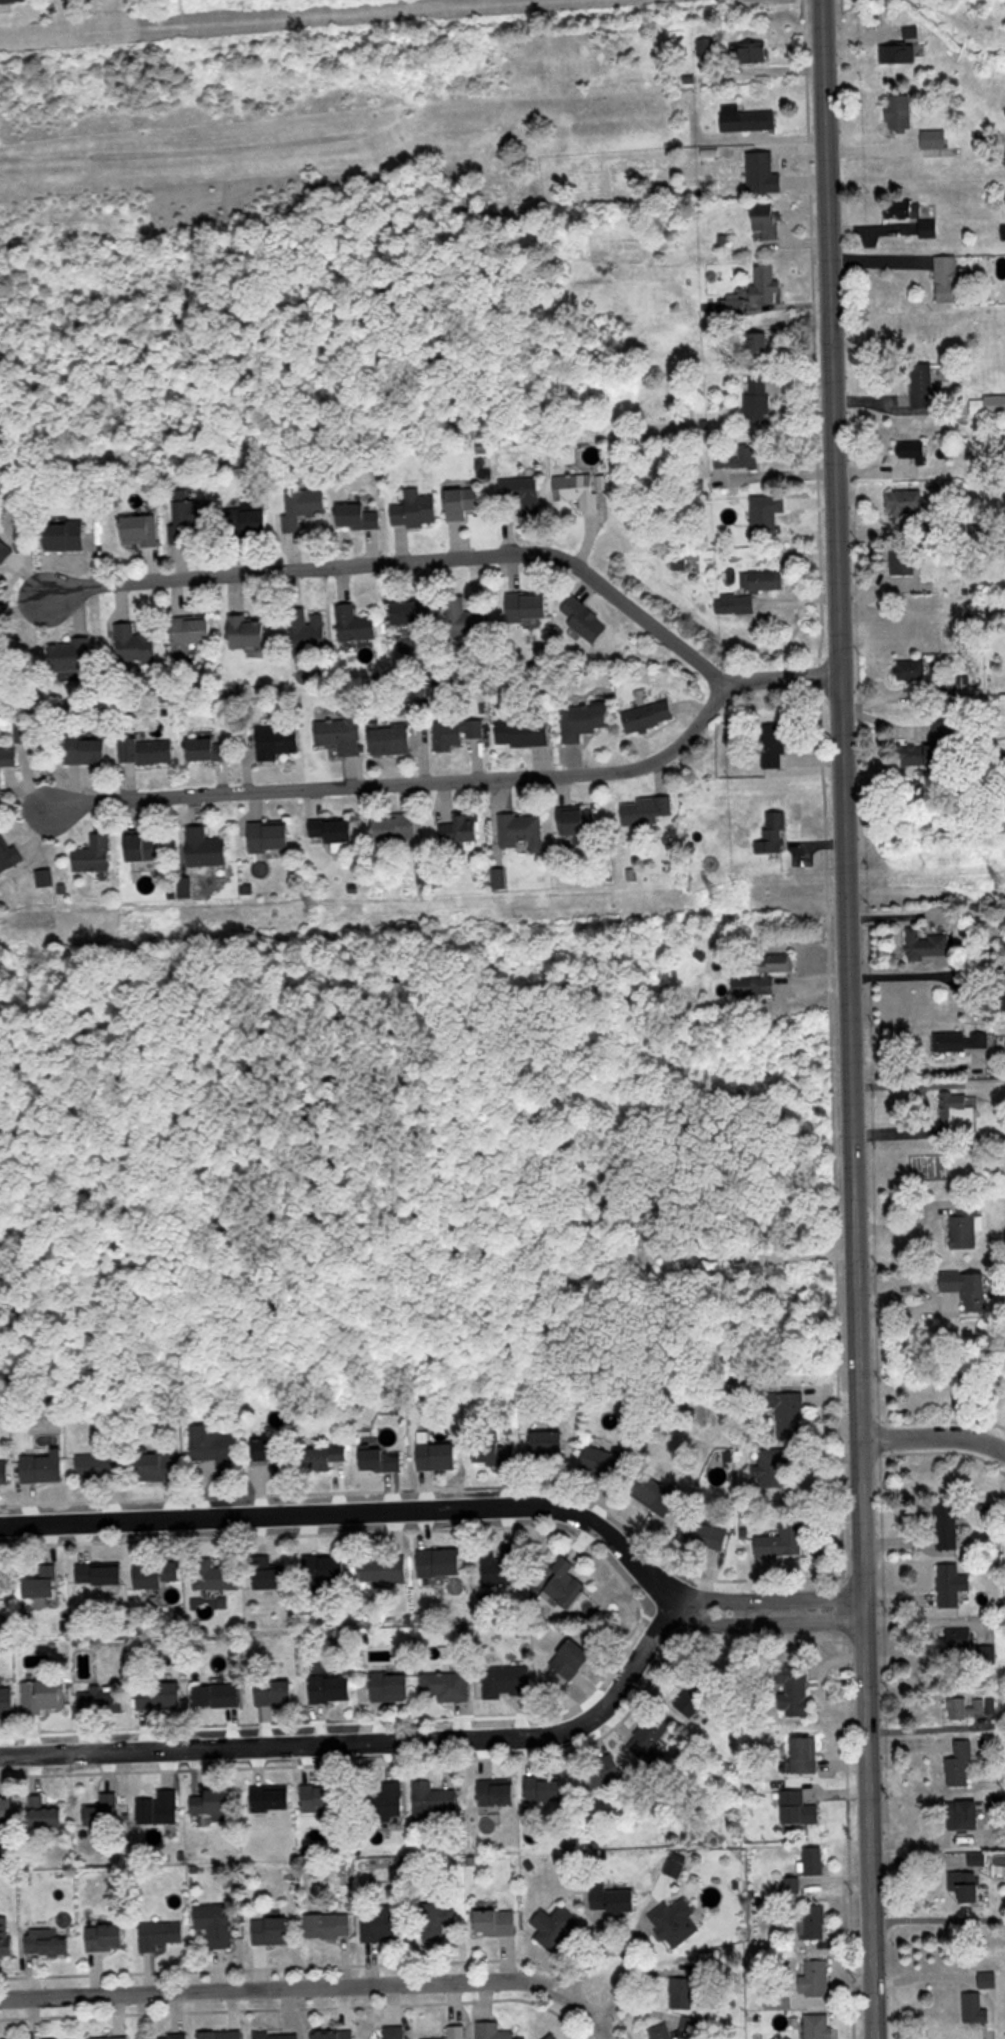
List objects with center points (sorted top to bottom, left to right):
building: (911, 34)
building: (704, 47)
building: (753, 53)
building: (898, 54)
building: (901, 113)
building: (748, 119)
building: (936, 139)
building: (764, 162)
building: (914, 217)
building: (768, 228)
building: (952, 279)
building: (767, 285)
building: (762, 344)
building: (924, 383)
building: (758, 399)
building: (914, 453)
building: (740, 454)
road: (782, 475)
building: (579, 490)
building: (521, 494)
building: (464, 503)
building: (906, 503)
building: (305, 508)
building: (416, 510)
building: (360, 516)
building: (257, 519)
building: (192, 520)
building: (141, 531)
building: (68, 537)
building: (4, 552)
road: (388, 558)
building: (902, 562)
building: (751, 592)
building: (527, 607)
building: (414, 613)
building: (467, 618)
building: (585, 619)
building: (357, 627)
building: (309, 630)
building: (251, 631)
building: (192, 635)
building: (2, 645)
building: (137, 645)
building: (74, 655)
building: (912, 670)
road: (781, 683)
building: (650, 716)
building: (586, 721)
building: (341, 731)
building: (458, 732)
building: (525, 732)
building: (24, 733)
building: (393, 740)
building: (279, 741)
building: (775, 746)
building: (210, 749)
building: (87, 751)
building: (149, 751)
building: (926, 754)
building: (8, 763)
road: (386, 783)
building: (647, 810)
building: (580, 822)
building: (398, 827)
building: (461, 830)
building: (338, 831)
building: (523, 831)
building: (772, 834)
building: (271, 836)
building: (144, 847)
building: (208, 848)
building: (9, 854)
building: (95, 854)
building: (46, 878)
power tower: (721, 895)
power tower: (319, 912)
building: (927, 945)
building: (764, 974)
road: (912, 975)
road: (847, 1019)
building: (964, 1042)
road: (926, 1083)
building: (959, 1111)
building: (965, 1221)
building: (968, 1286)
building: (788, 1414)
road: (935, 1431)
building: (549, 1441)
building: (214, 1445)
building: (270, 1449)
building: (495, 1450)
building: (439, 1455)
building: (325, 1458)
building: (385, 1460)
building: (606, 1462)
building: (157, 1465)
building: (776, 1465)
building: (45, 1466)
building: (99, 1466)
building: (5, 1472)
building: (660, 1497)
road: (354, 1510)
building: (948, 1524)
building: (710, 1536)
building: (784, 1540)
building: (442, 1561)
building: (503, 1567)
building: (334, 1568)
building: (394, 1568)
building: (101, 1573)
building: (158, 1573)
building: (217, 1576)
building: (272, 1576)
building: (44, 1582)
building: (952, 1584)
building: (564, 1585)
building: (1, 1590)
road: (771, 1598)
road: (768, 1622)
building: (961, 1638)
building: (573, 1659)
building: (507, 1680)
building: (447, 1685)
building: (392, 1686)
building: (332, 1688)
building: (794, 1690)
building: (276, 1691)
building: (46, 1693)
building: (218, 1694)
building: (161, 1695)
building: (103, 1698)
building: (7, 1700)
building: (694, 1702)
building: (968, 1707)
building: (651, 1735)
road: (370, 1741)
building: (807, 1748)
building: (961, 1765)
building: (602, 1773)
building: (546, 1789)
building: (498, 1792)
building: (435, 1798)
building: (272, 1799)
building: (389, 1800)
building: (217, 1803)
building: (322, 1805)
building: (802, 1808)
building: (7, 1809)
building: (159, 1810)
building: (105, 1811)
building: (47, 1814)
building: (967, 1815)
road: (924, 1839)
building: (815, 1860)
building: (677, 1865)
building: (968, 1885)
building: (614, 1899)
building: (438, 1920)
road: (939, 1920)
building: (497, 1922)
building: (217, 1923)
building: (555, 1923)
building: (676, 1923)
building: (816, 1923)
building: (330, 1925)
building: (386, 1926)
building: (274, 1930)
building: (161, 1935)
building: (6, 1936)
building: (107, 1936)
building: (49, 1944)
road: (630, 1952)
building: (817, 1978)
building: (989, 1980)
road: (312, 1984)
building: (683, 1993)
building: (976, 2008)
building: (819, 2026)
building: (494, 2031)
building: (396, 2032)
building: (458, 2032)
building: (662, 2032)
building: (335, 2034)
building: (222, 2035)
building: (278, 2035)
building: (553, 2036)
building: (174, 2037)
building: (113, 2038)

